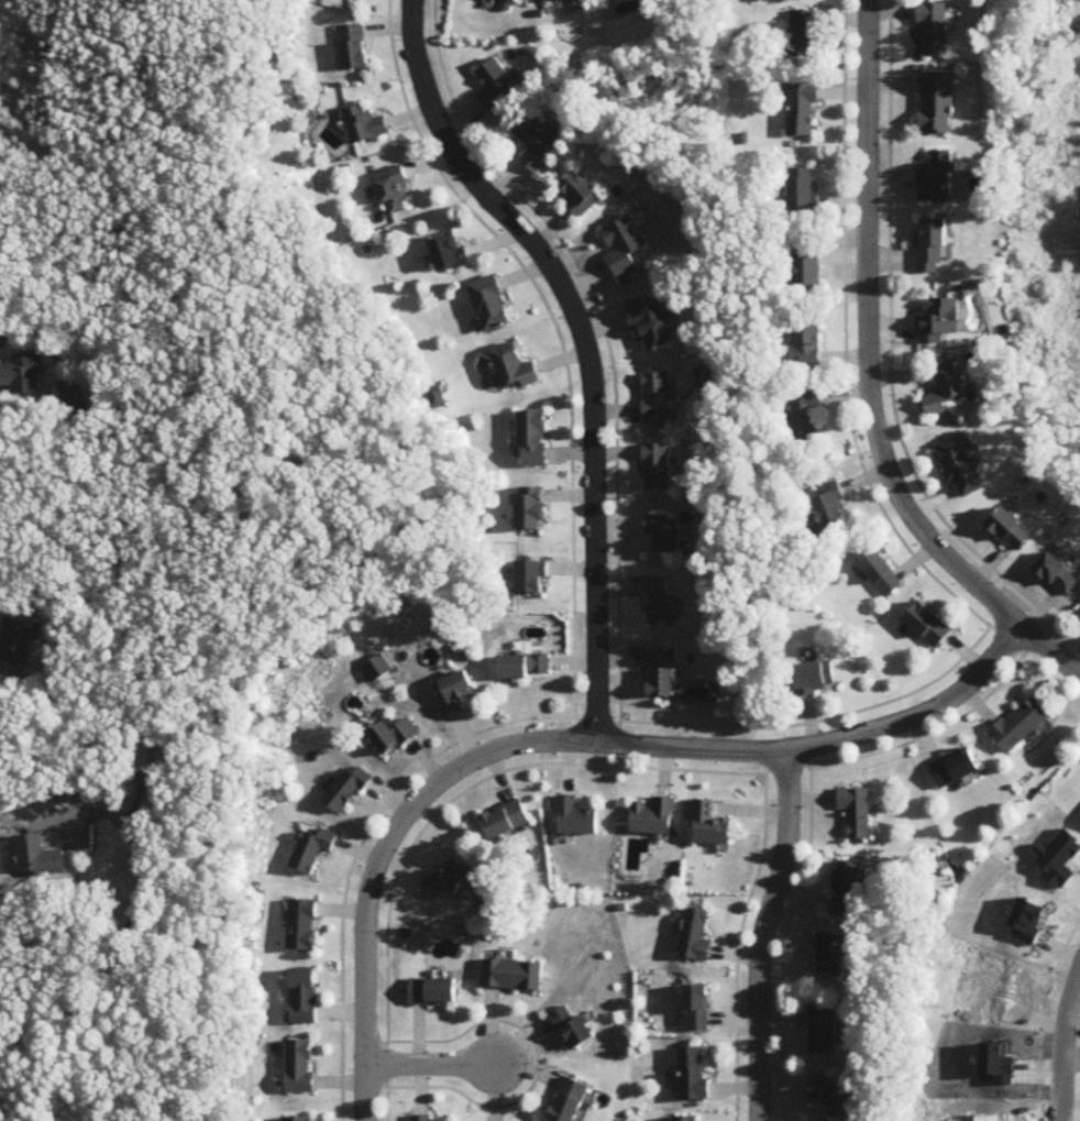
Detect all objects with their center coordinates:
building: (570, 0)
building: (508, 4)
building: (935, 28)
building: (805, 34)
building: (354, 47)
building: (498, 85)
building: (937, 102)
building: (803, 109)
building: (363, 124)
building: (537, 142)
building: (938, 176)
building: (804, 190)
building: (393, 191)
building: (580, 195)
road: (492, 232)
building: (625, 246)
building: (933, 246)
building: (448, 253)
building: (809, 265)
building: (491, 304)
building: (940, 321)
building: (653, 322)
building: (807, 343)
road: (589, 344)
road: (1, 347)
road: (892, 359)
building: (515, 367)
building: (22, 377)
road: (875, 377)
building: (947, 389)
building: (661, 395)
road: (847, 399)
building: (806, 416)
building: (533, 439)
building: (963, 465)
building: (660, 468)
building: (833, 508)
building: (1012, 530)
building: (665, 536)
building: (882, 574)
building: (1059, 574)
building: (662, 602)
building: (928, 625)
building: (16, 646)
building: (525, 667)
building: (661, 674)
building: (815, 678)
road: (967, 685)
building: (453, 693)
building: (1021, 726)
building: (393, 736)
building: (134, 757)
road: (486, 757)
building: (956, 769)
building: (345, 792)
road: (133, 809)
building: (857, 812)
building: (654, 817)
building: (575, 818)
building: (506, 822)
building: (712, 825)
building: (312, 850)
building: (38, 857)
building: (449, 879)
building: (847, 890)
road: (130, 920)
building: (302, 926)
road: (764, 935)
building: (695, 936)
building: (834, 956)
building: (513, 976)
building: (433, 993)
building: (304, 998)
building: (697, 1009)
building: (573, 1027)
building: (823, 1032)
road: (1061, 1045)
road: (538, 1065)
road: (431, 1066)
building: (300, 1068)
building: (692, 1076)
building: (833, 1098)
building: (571, 1101)
building: (298, 1119)
building: (685, 1119)
building: (434, 1120)

